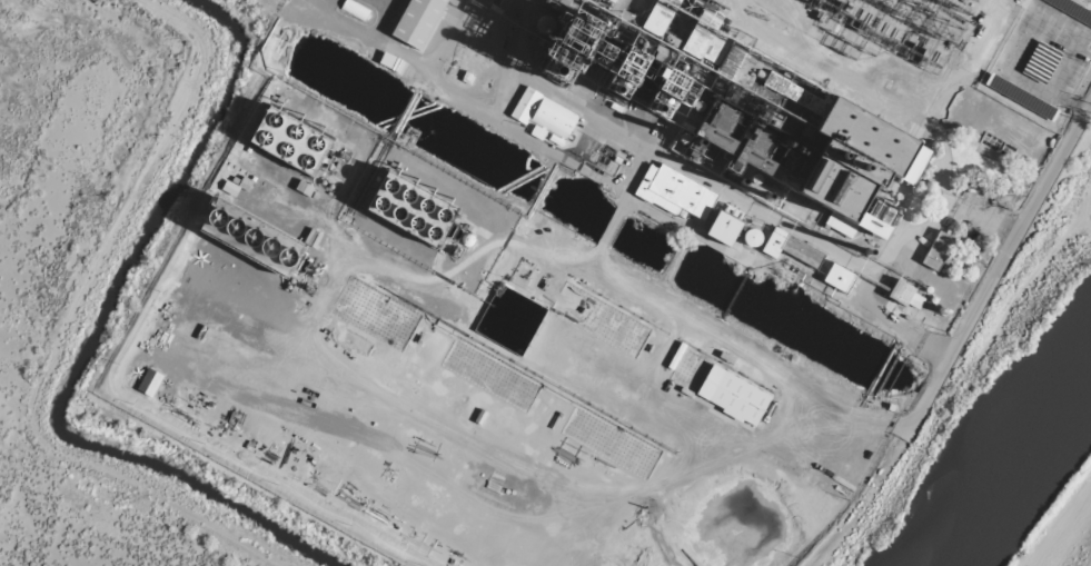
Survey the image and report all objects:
building: (418, 21)
building: (1038, 67)
chimney: (546, 68)
chimney: (606, 85)
chimney: (646, 100)
building: (545, 113)
building: (723, 118)
building: (537, 132)
chimney: (692, 140)
building: (288, 141)
chimney: (829, 155)
building: (824, 161)
chimney: (850, 167)
chimney: (741, 179)
building: (674, 192)
chimney: (764, 193)
building: (408, 208)
building: (879, 219)
building: (723, 228)
building: (248, 236)
building: (791, 248)
chimney: (864, 249)
building: (938, 250)
power plant: (594, 262)
road: (998, 262)
building: (839, 278)
building: (905, 296)
building: (149, 383)
building: (733, 396)
river: (1026, 420)
road: (855, 508)
road: (1089, 562)

